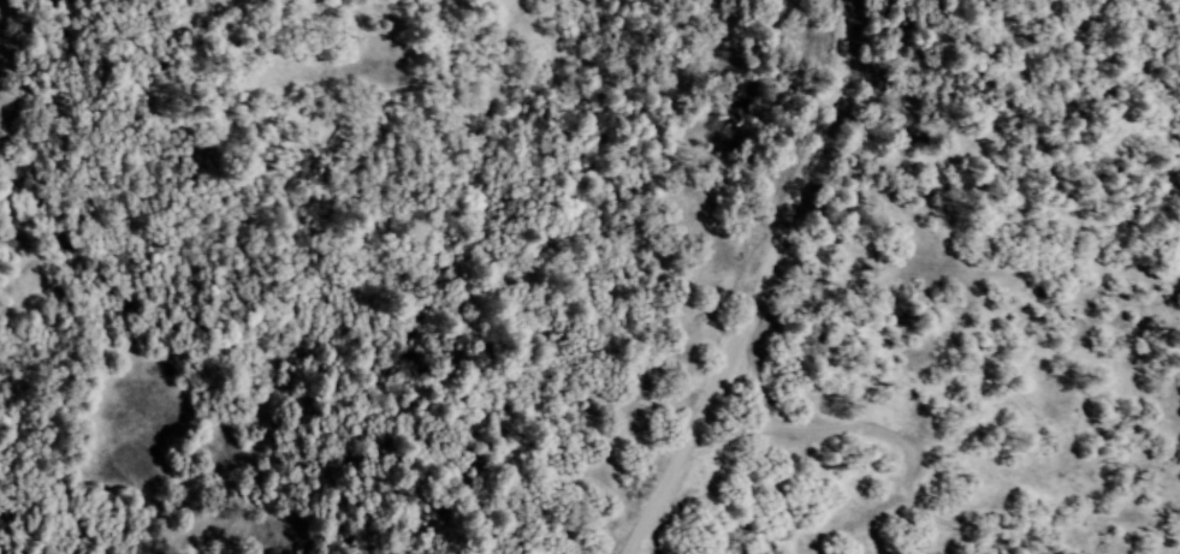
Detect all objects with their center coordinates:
road: (761, 284)
park: (107, 412)

